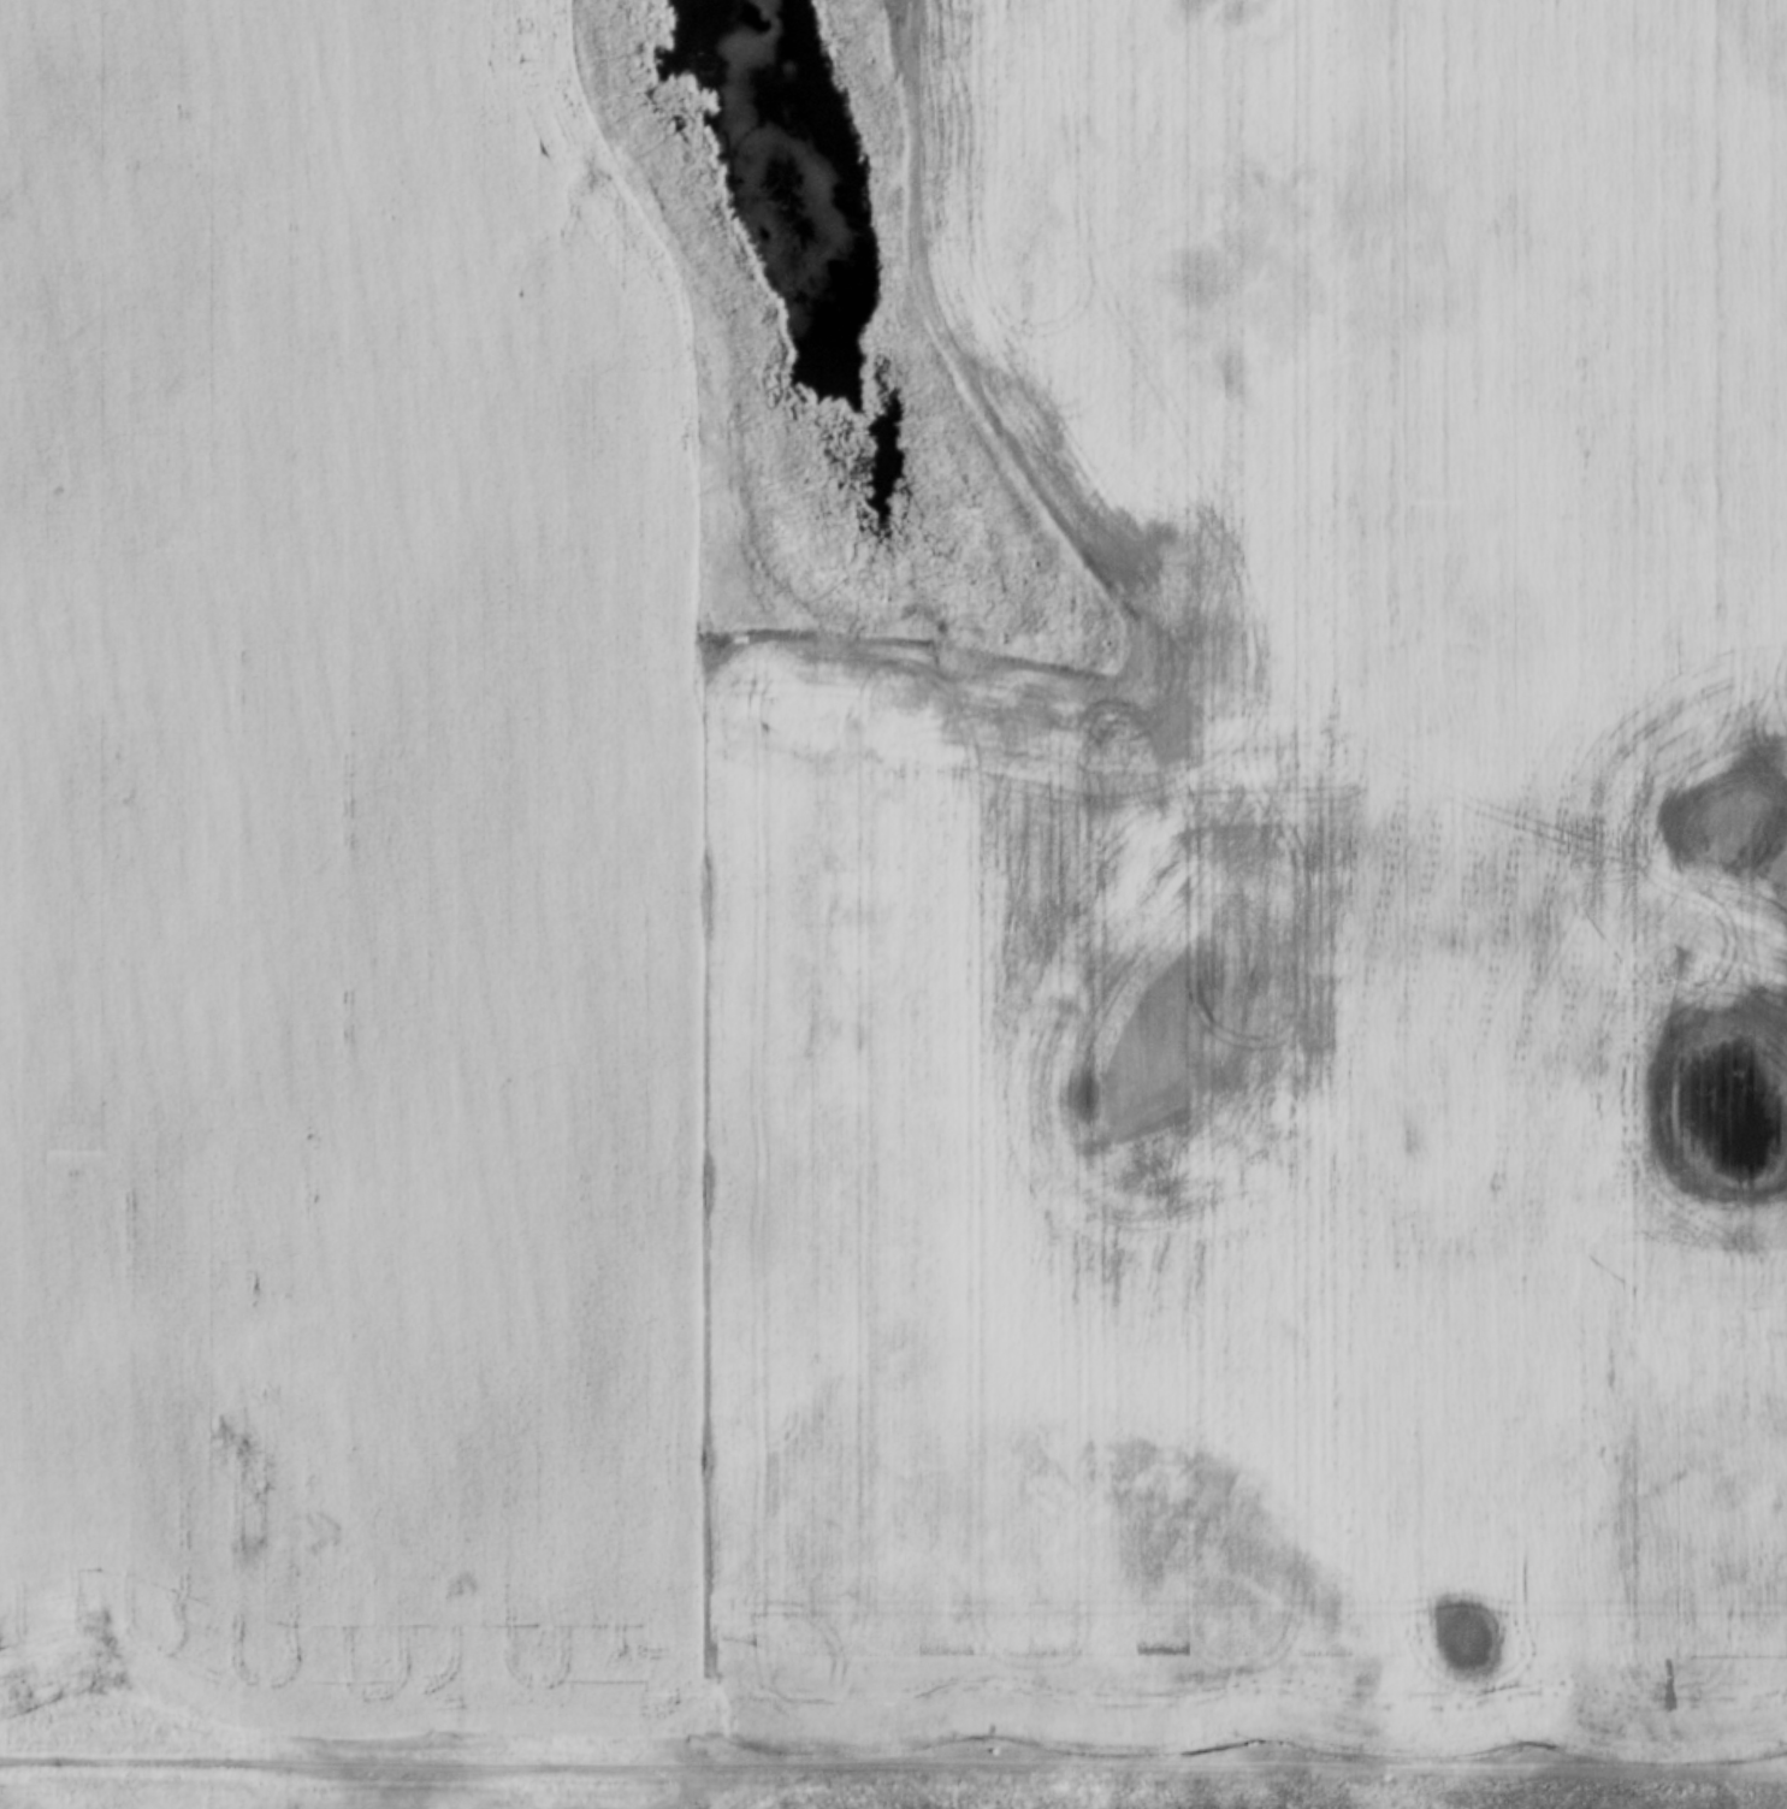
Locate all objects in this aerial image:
road: (893, 1761)

